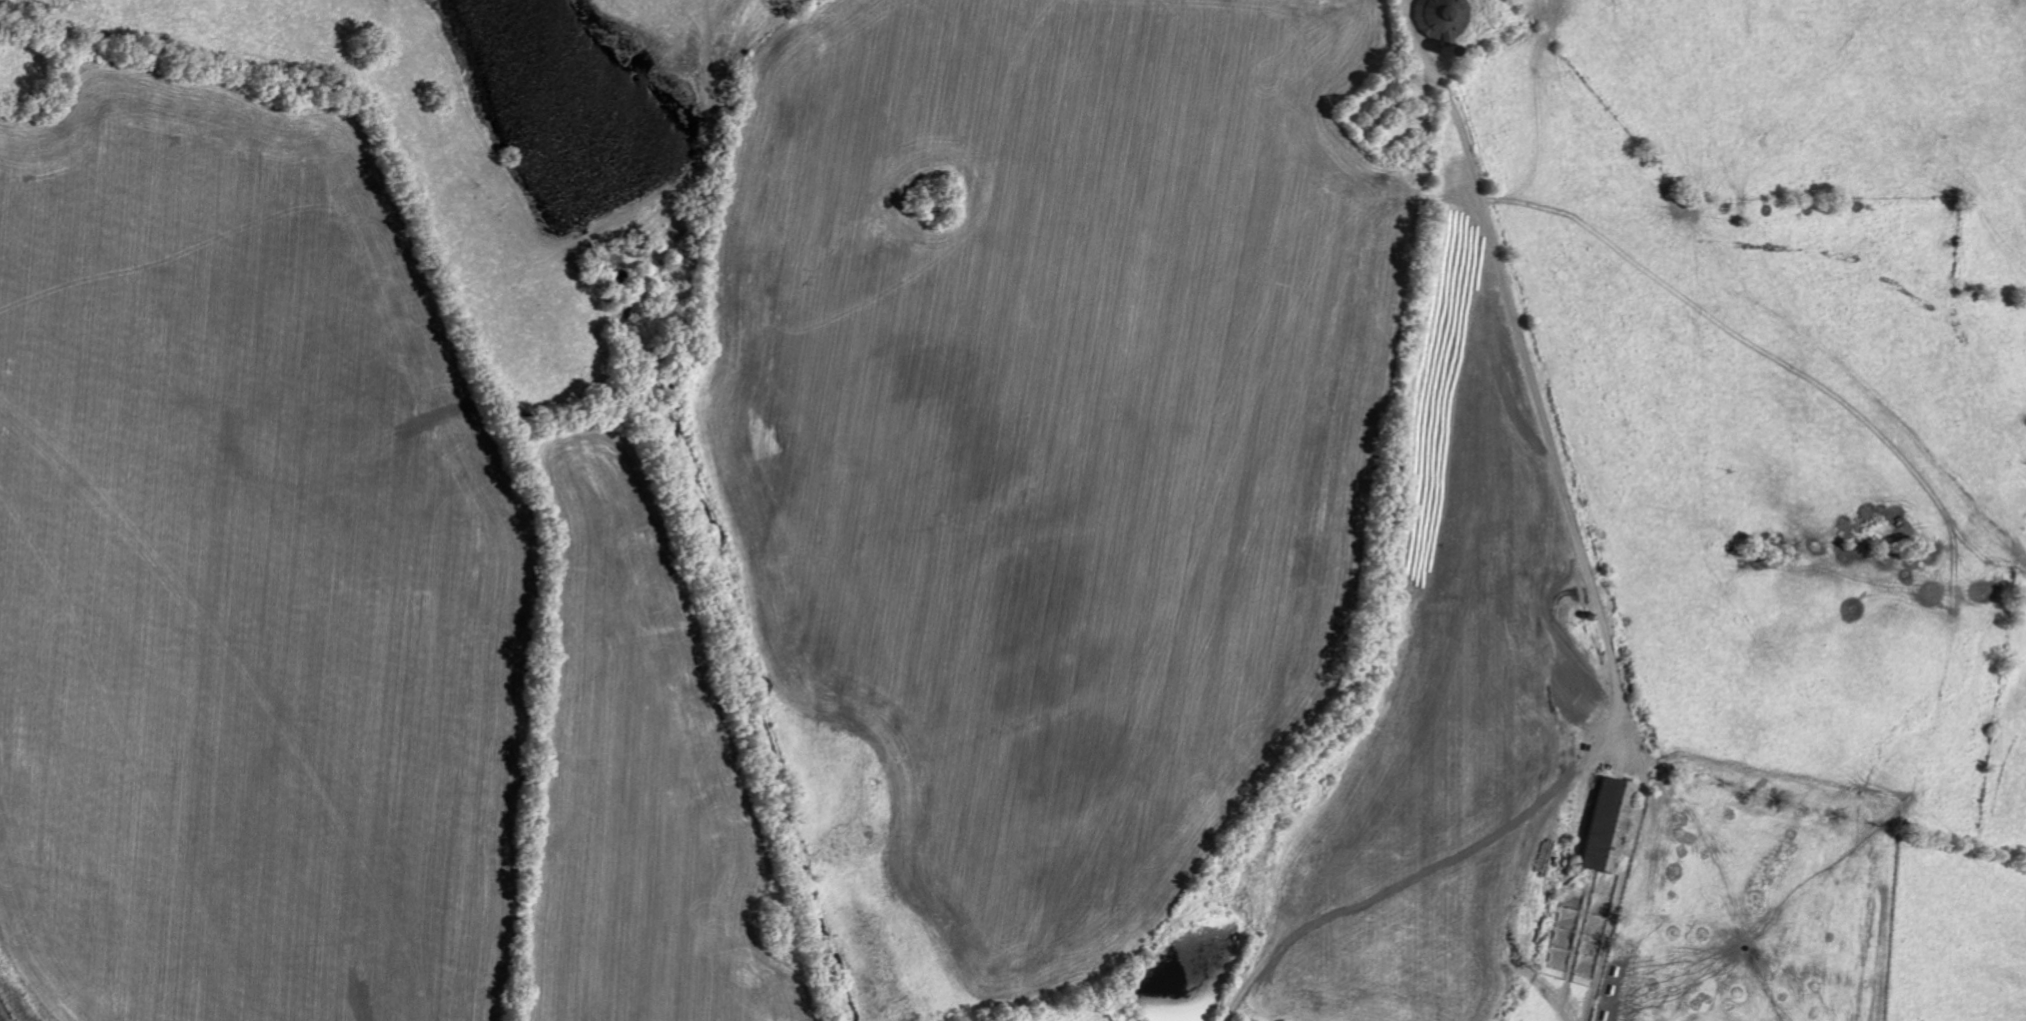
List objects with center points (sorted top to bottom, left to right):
road: (1518, 336)
building: (1606, 825)
road: (1628, 1014)

